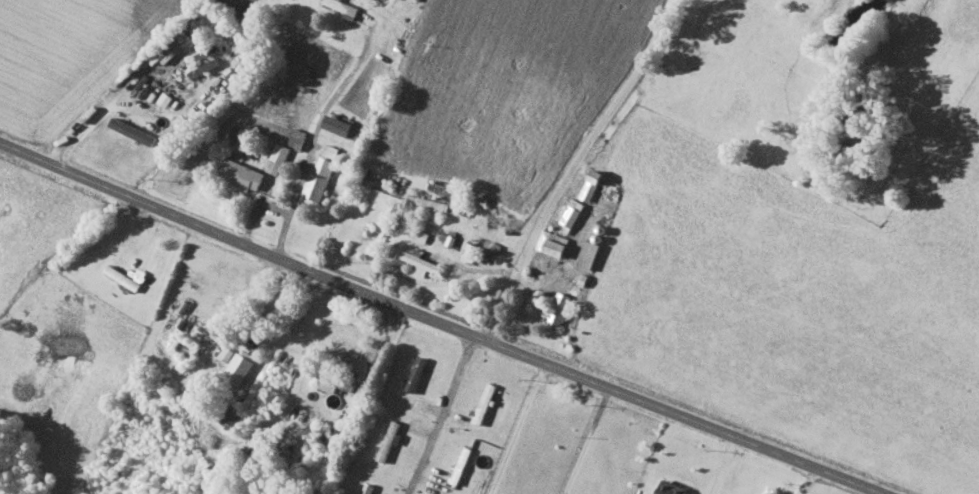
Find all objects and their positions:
building: (345, 7)
road: (103, 109)
building: (345, 126)
building: (134, 130)
building: (298, 137)
road: (315, 137)
building: (278, 157)
road: (570, 166)
building: (244, 173)
building: (497, 180)
building: (319, 181)
building: (592, 184)
road: (257, 206)
building: (572, 214)
building: (554, 242)
building: (590, 254)
building: (422, 261)
building: (561, 307)
road: (443, 322)
building: (188, 347)
building: (228, 353)
building: (241, 366)
building: (417, 373)
building: (335, 380)
building: (365, 388)
building: (358, 405)
road: (441, 414)
building: (234, 420)
building: (390, 439)
road: (587, 440)
road: (724, 464)
building: (673, 488)

